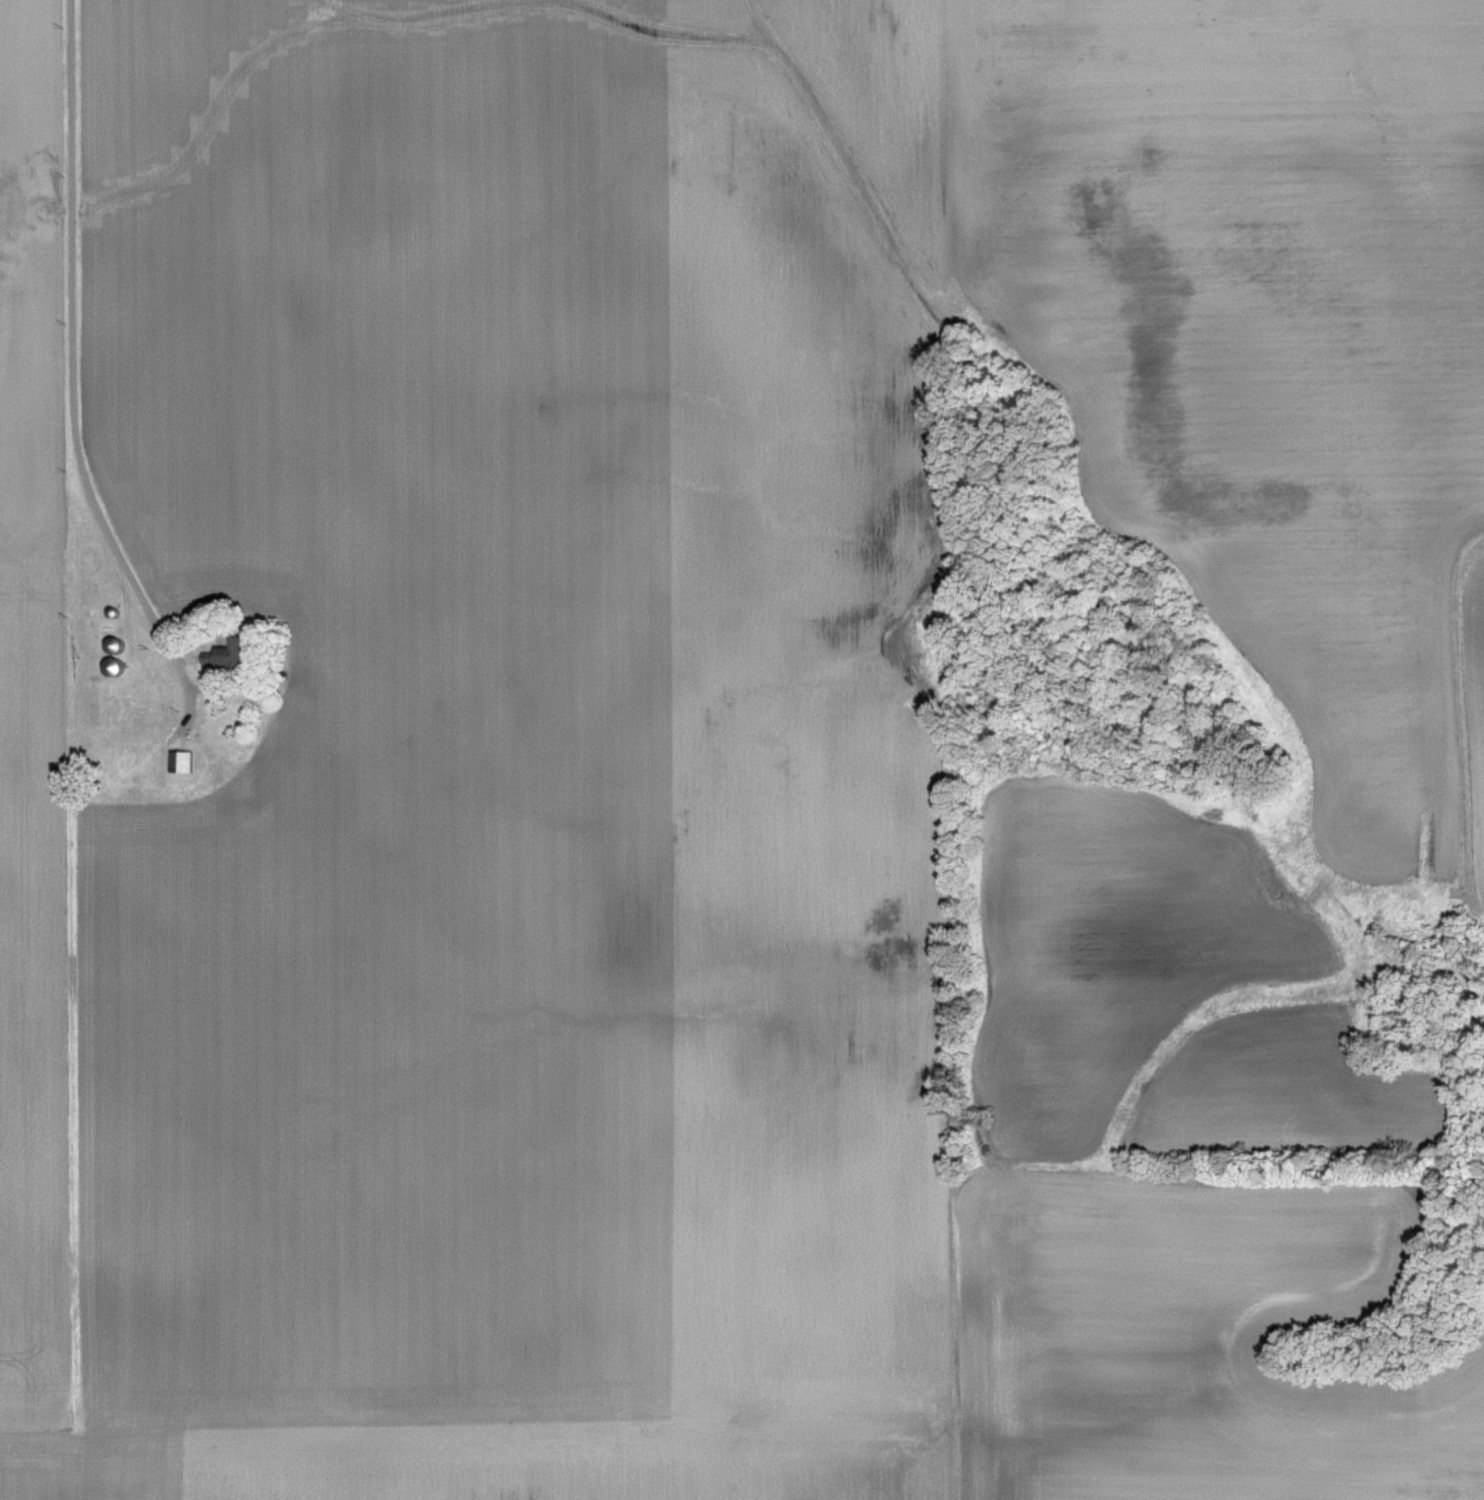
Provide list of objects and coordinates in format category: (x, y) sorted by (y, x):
road: (69, 361)
building: (228, 657)

